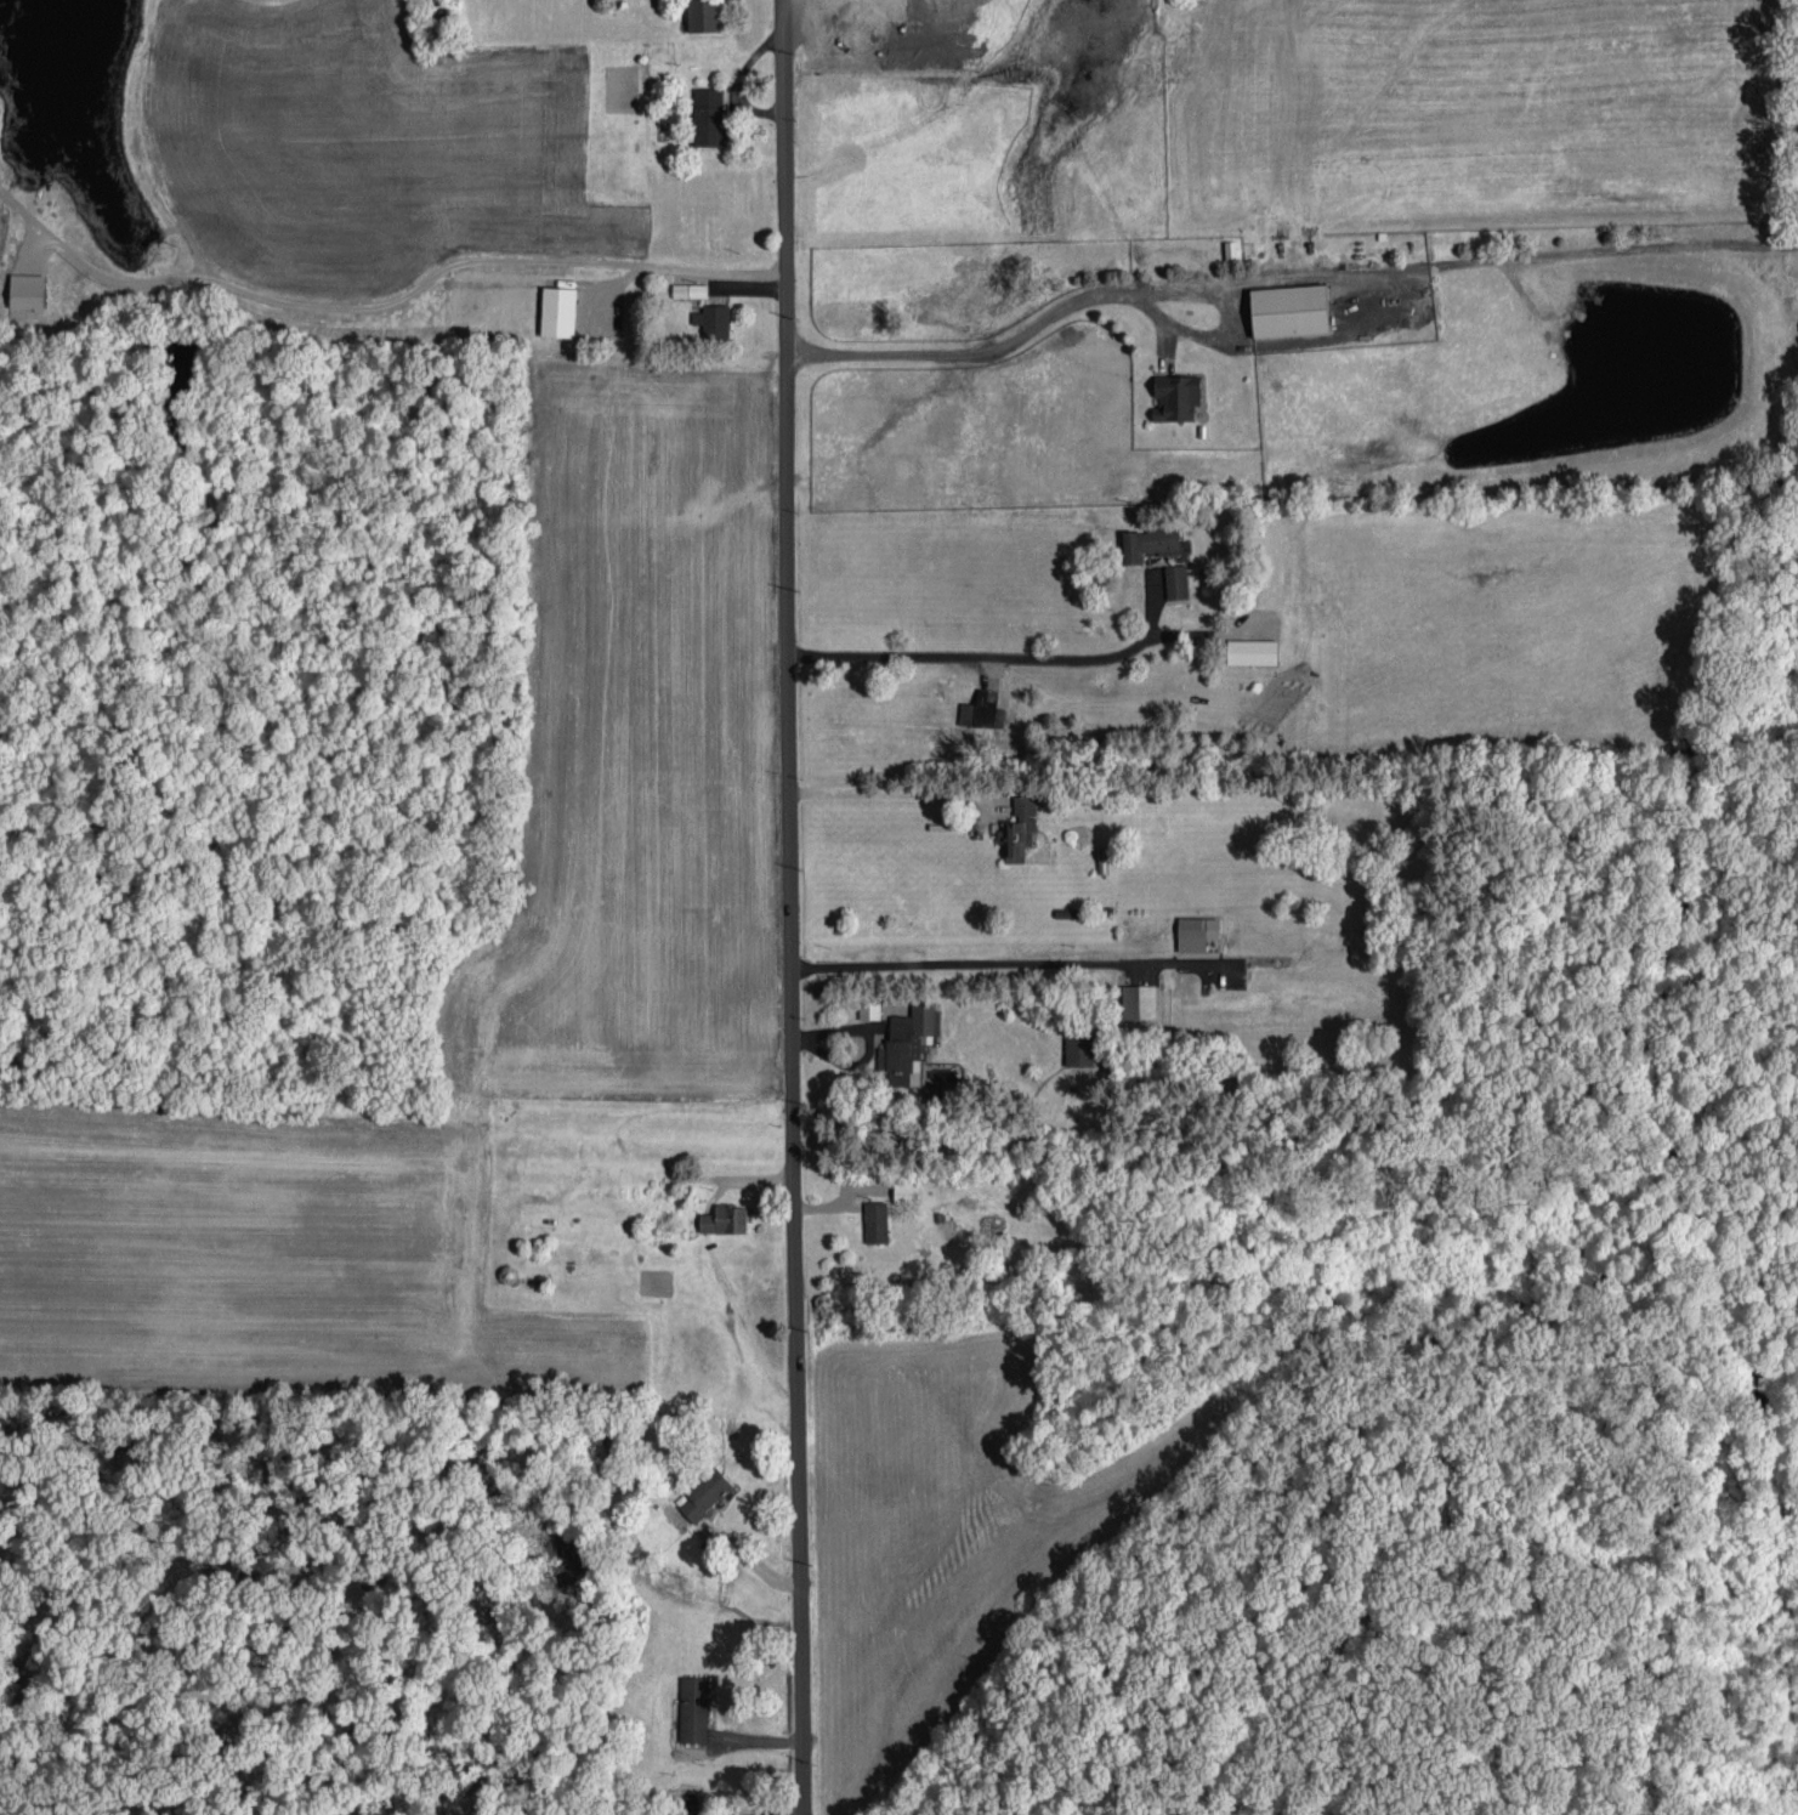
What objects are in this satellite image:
building: (906, 0)
building: (704, 15)
building: (709, 114)
building: (1541, 287)
building: (27, 288)
building: (690, 288)
building: (1291, 308)
building: (558, 310)
building: (713, 318)
building: (1176, 395)
building: (1150, 541)
building: (1176, 579)
building: (1253, 650)
building: (980, 707)
building: (1019, 826)
road: (790, 907)
building: (1196, 929)
building: (1232, 969)
building: (1139, 998)
building: (869, 1006)
building: (907, 1040)
building: (1079, 1045)
building: (907, 1189)
building: (725, 1216)
building: (877, 1219)
building: (705, 1491)
building: (693, 1706)

